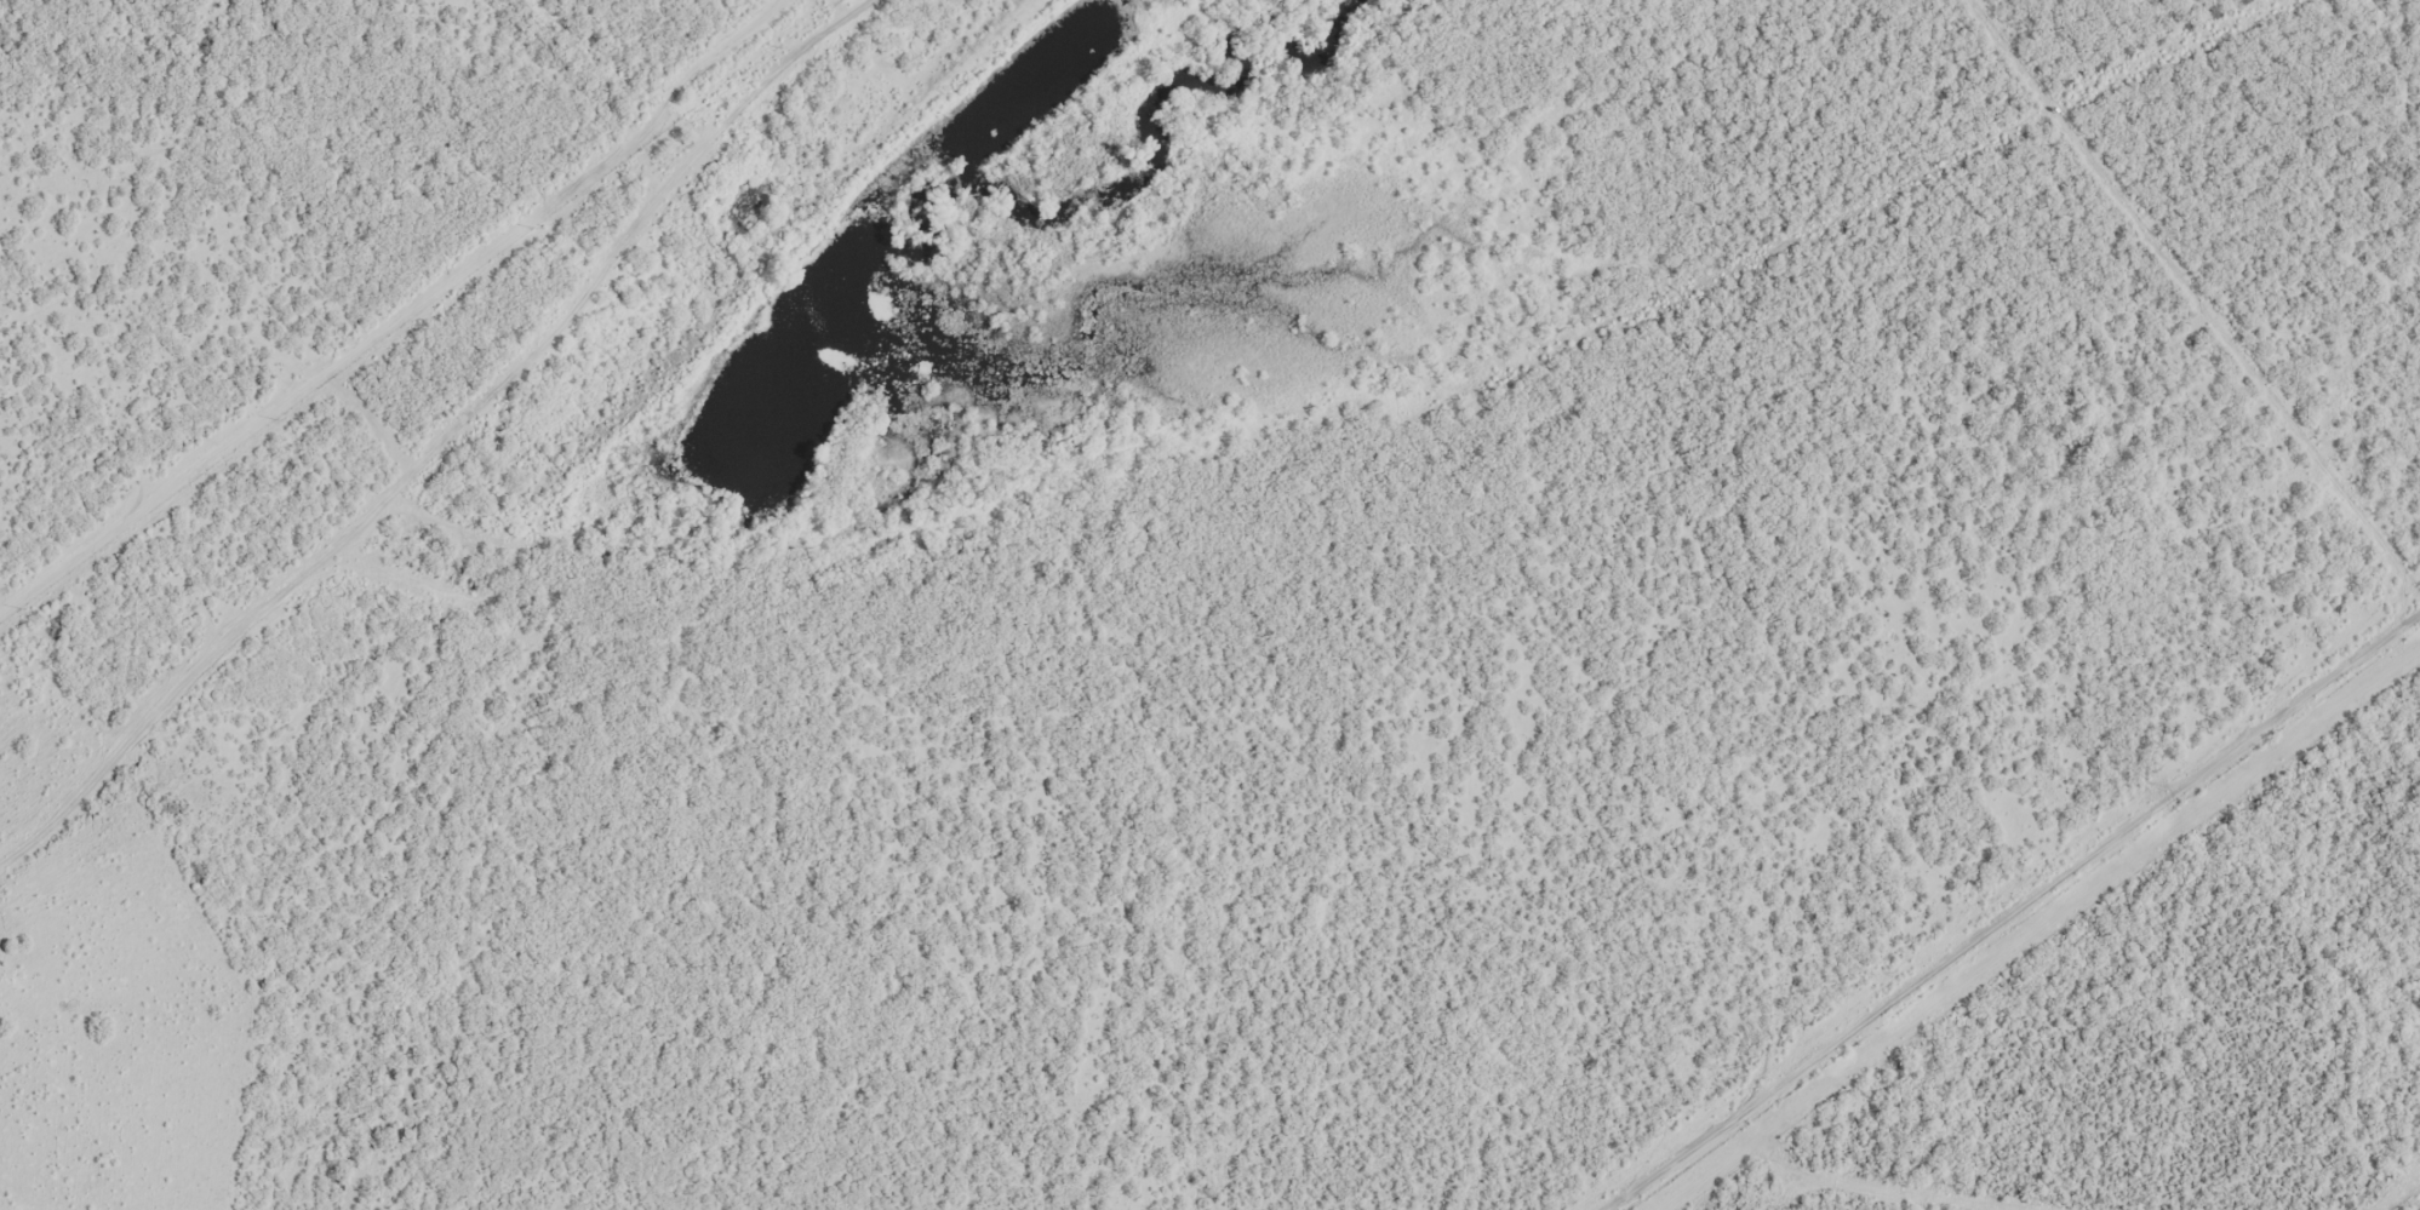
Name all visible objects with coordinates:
road: (418, 329)
road: (182, 773)

